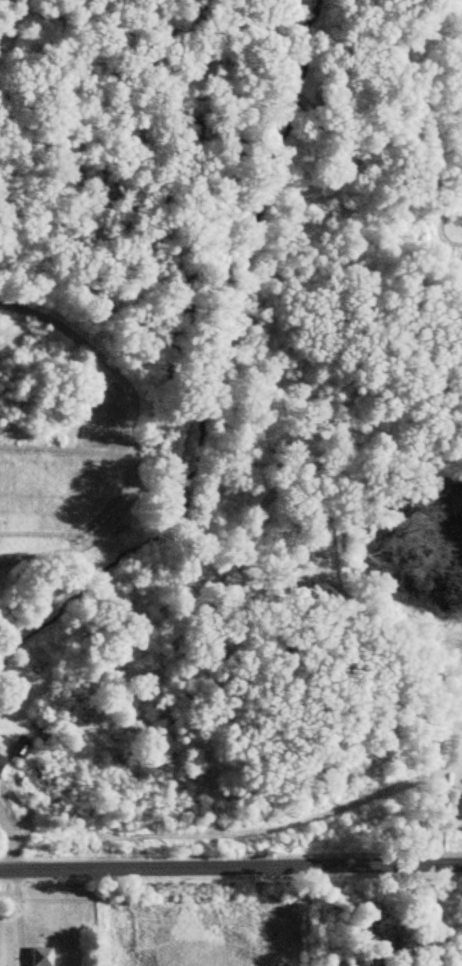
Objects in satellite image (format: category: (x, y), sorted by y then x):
building: (1, 760)
road: (231, 865)
road: (15, 916)
building: (37, 956)

